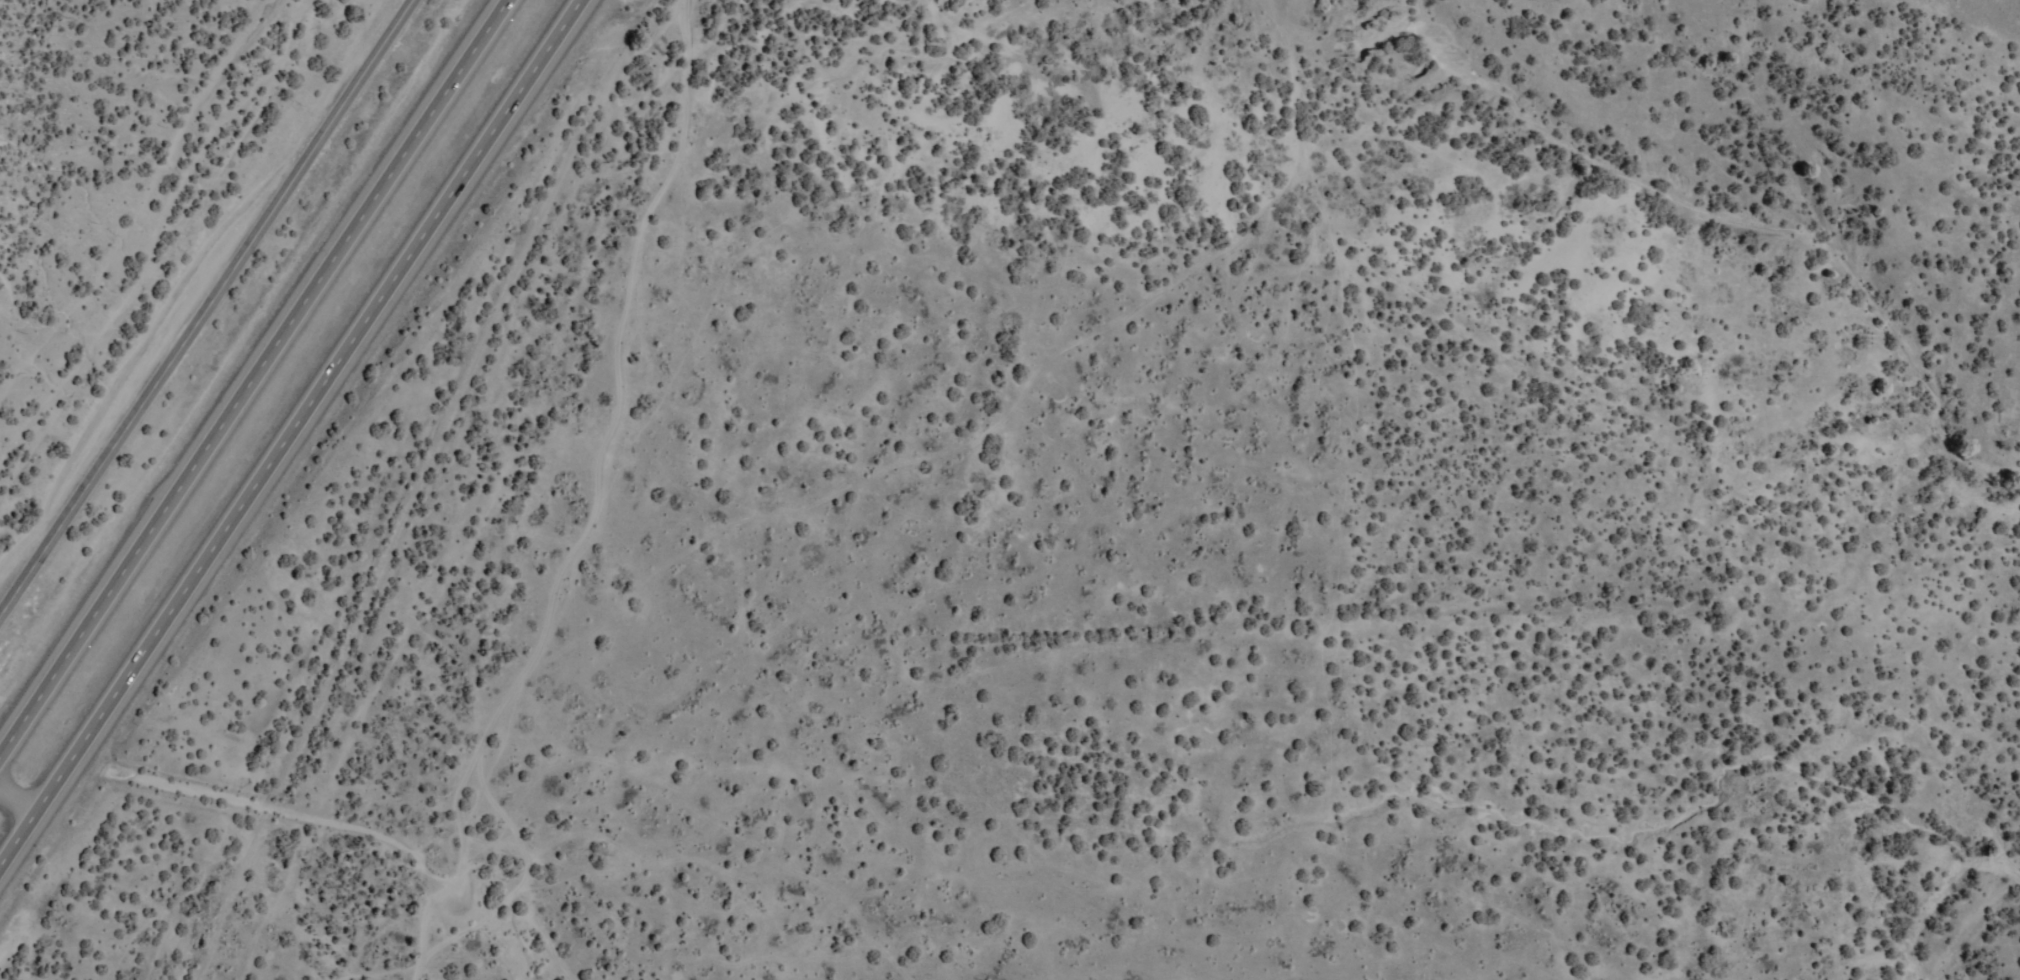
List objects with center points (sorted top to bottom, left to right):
road: (205, 305)
road: (258, 383)
road: (291, 431)
road: (19, 795)

